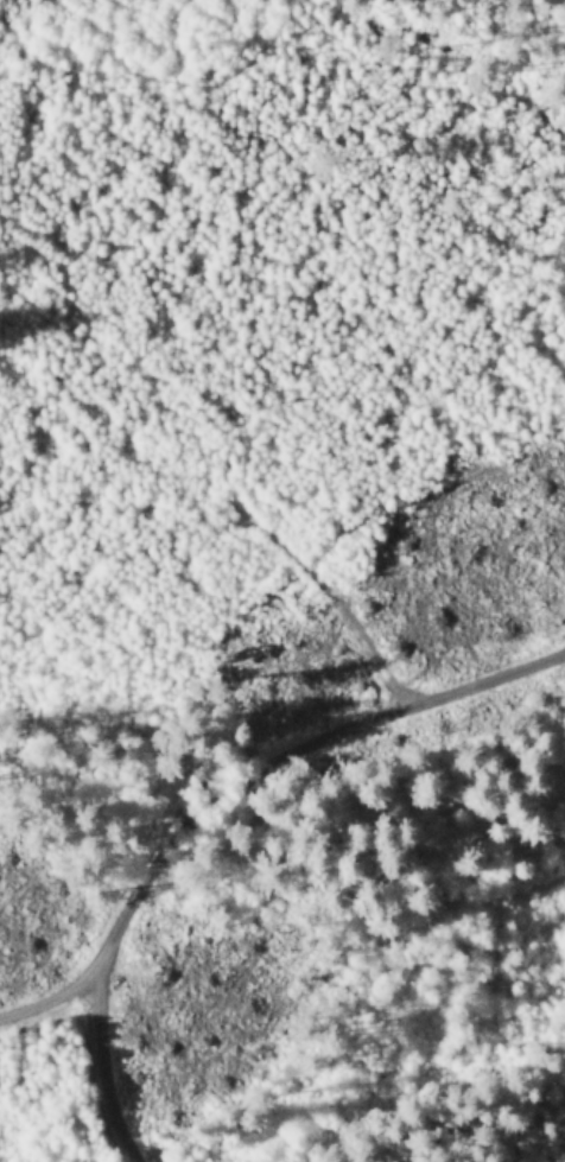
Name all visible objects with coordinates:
road: (253, 766)
road: (108, 1081)

